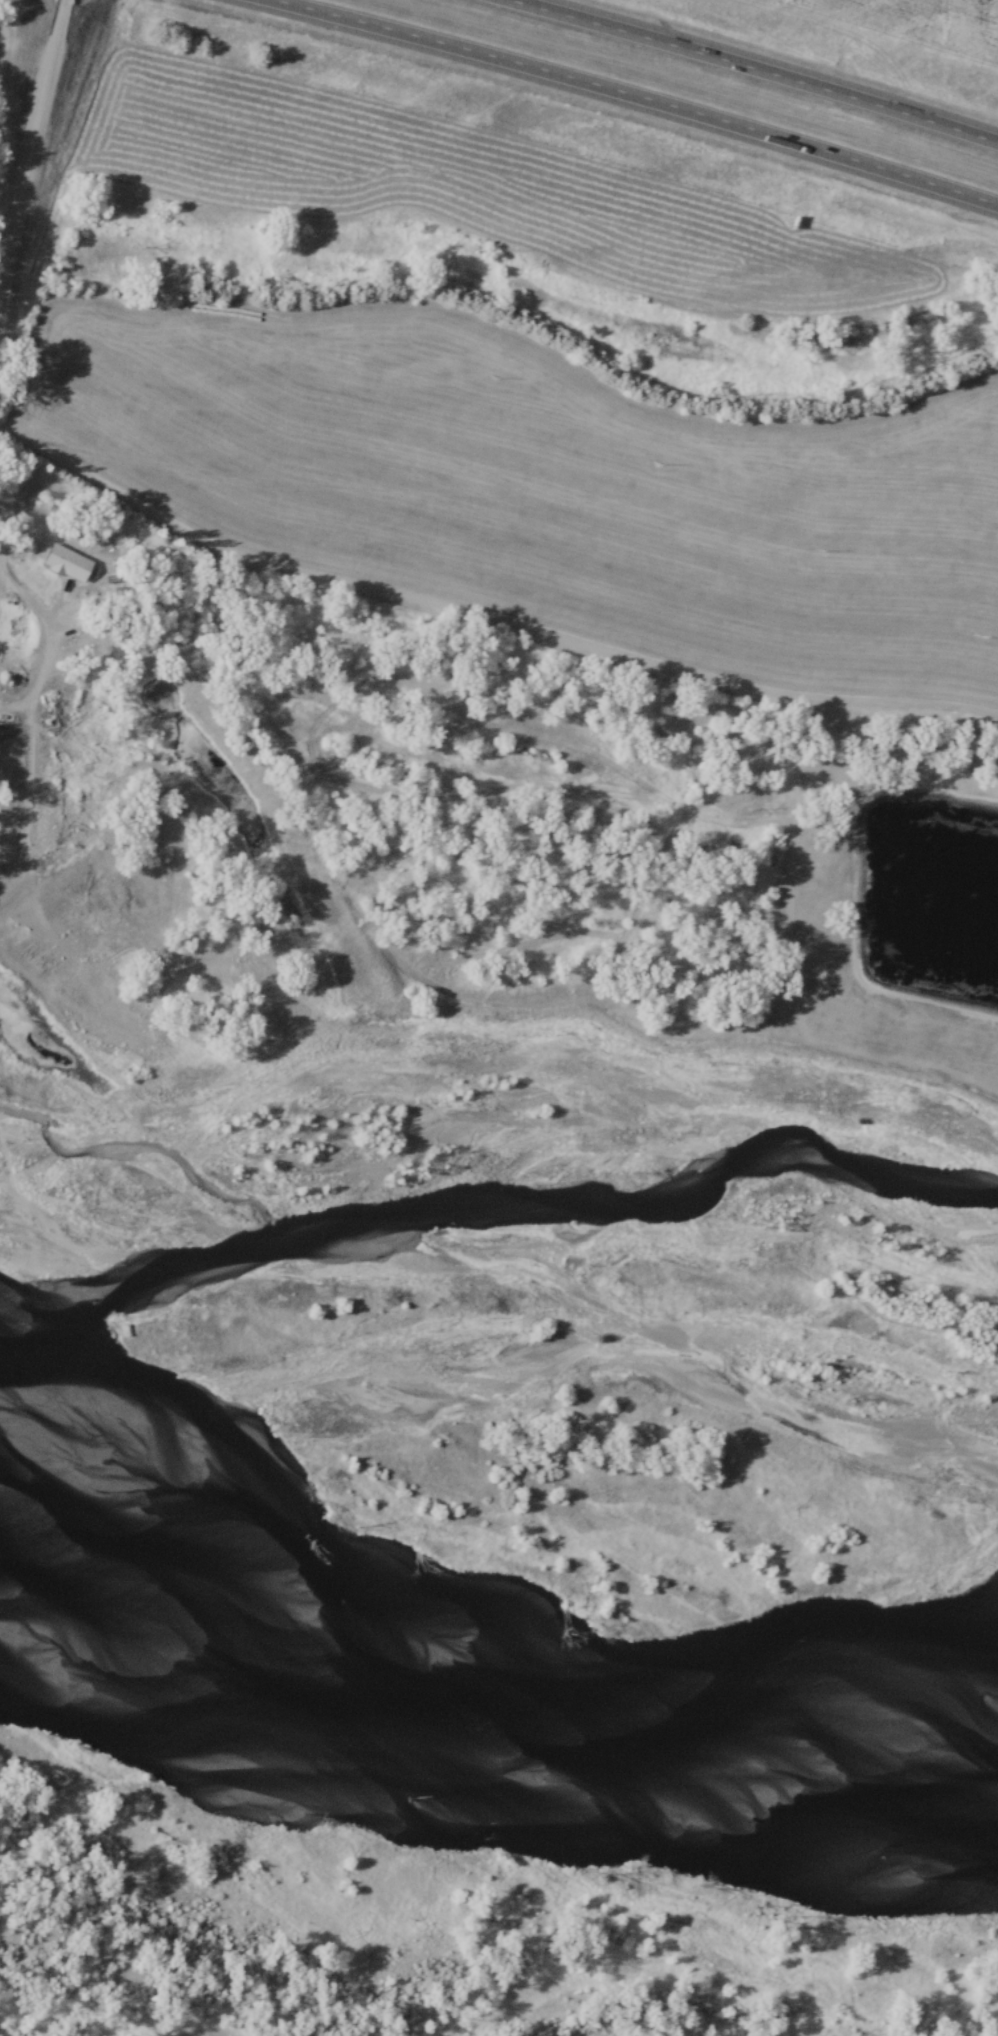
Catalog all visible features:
road: (749, 70)
road: (635, 98)
road: (36, 142)
road: (485, 620)
road: (47, 645)
building: (39, 1347)
river: (489, 1672)

